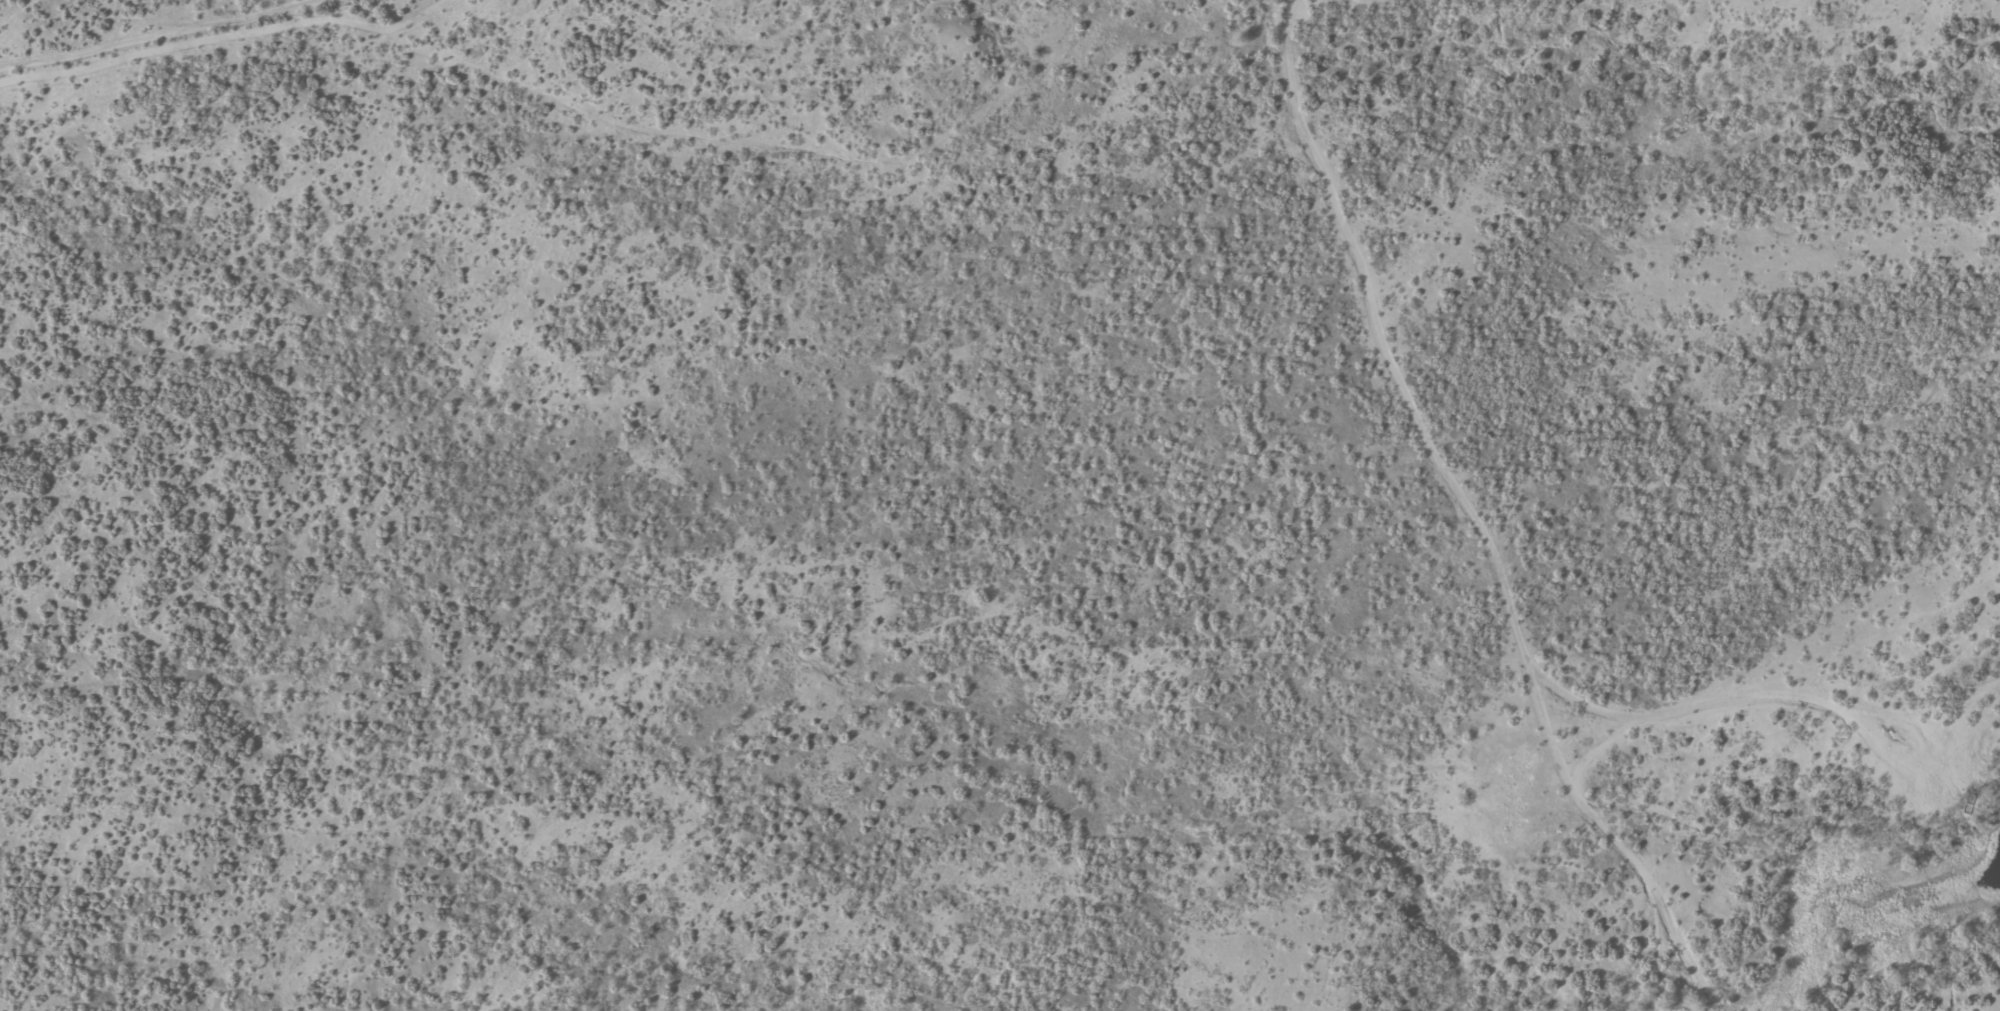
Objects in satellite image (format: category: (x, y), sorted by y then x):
road: (782, 154)
road: (1502, 513)

